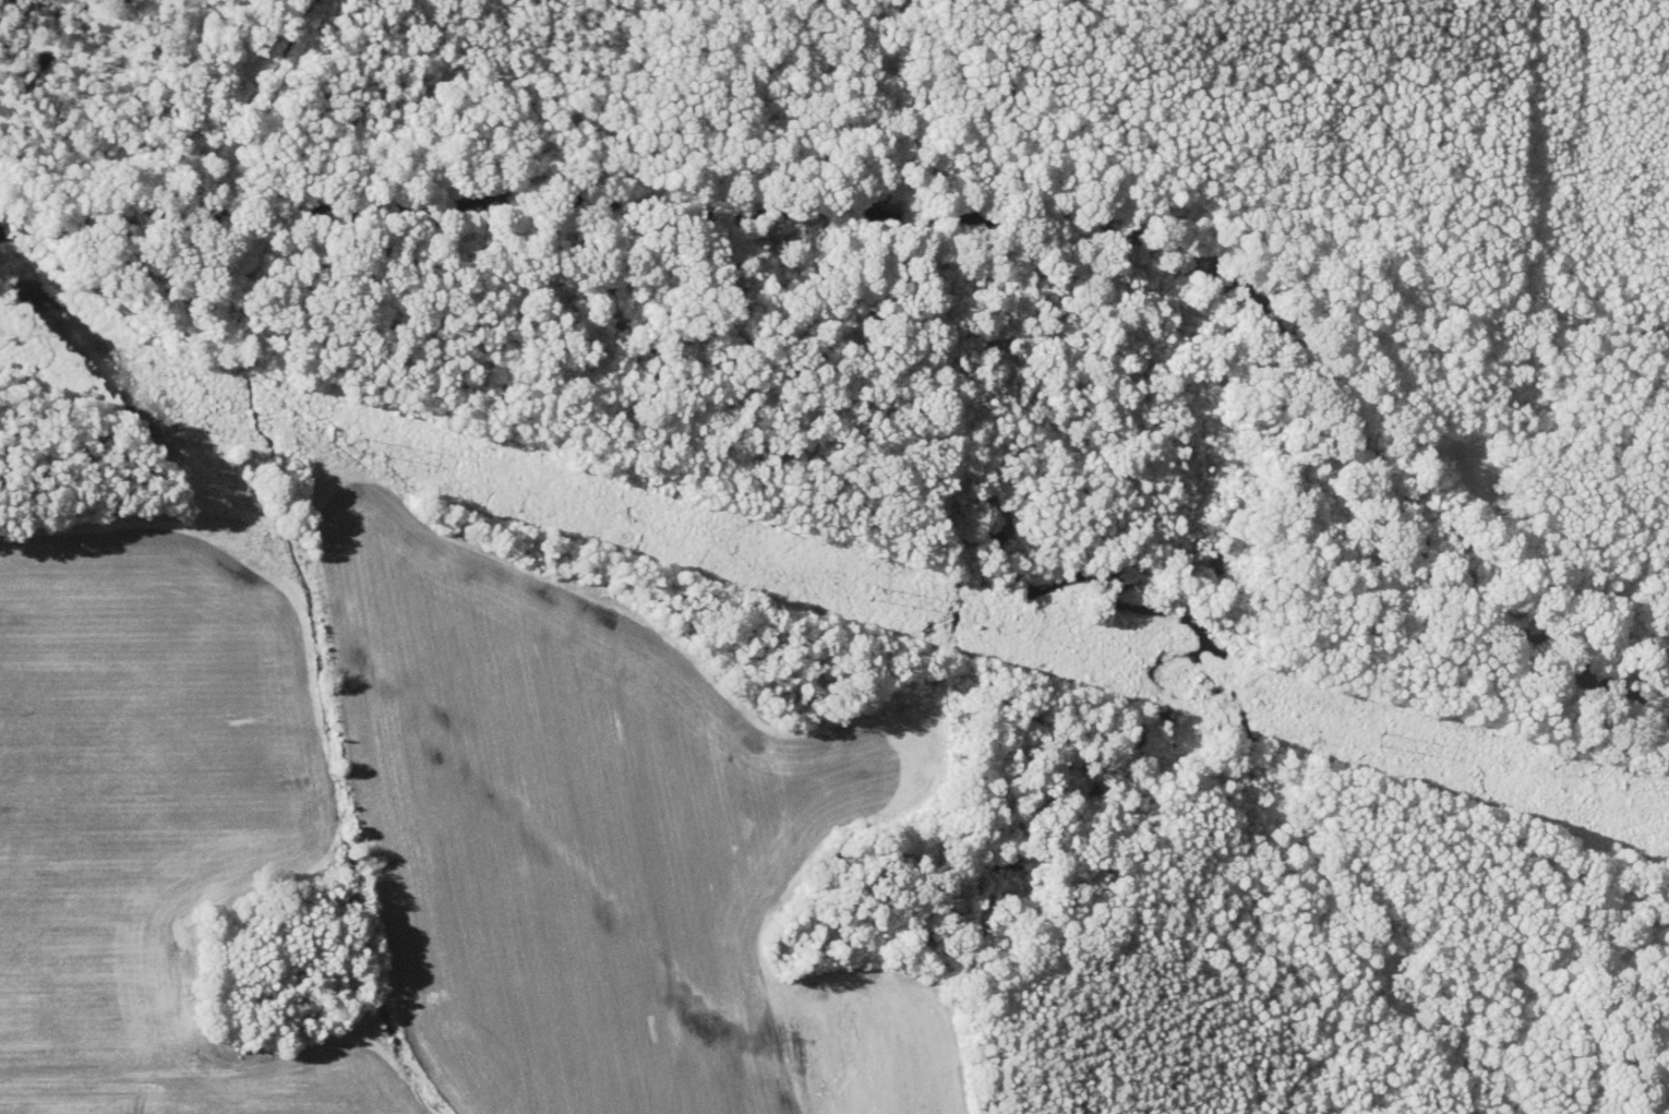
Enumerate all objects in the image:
power tower: (357, 446)
power tower: (867, 589)
power tower: (1379, 738)

